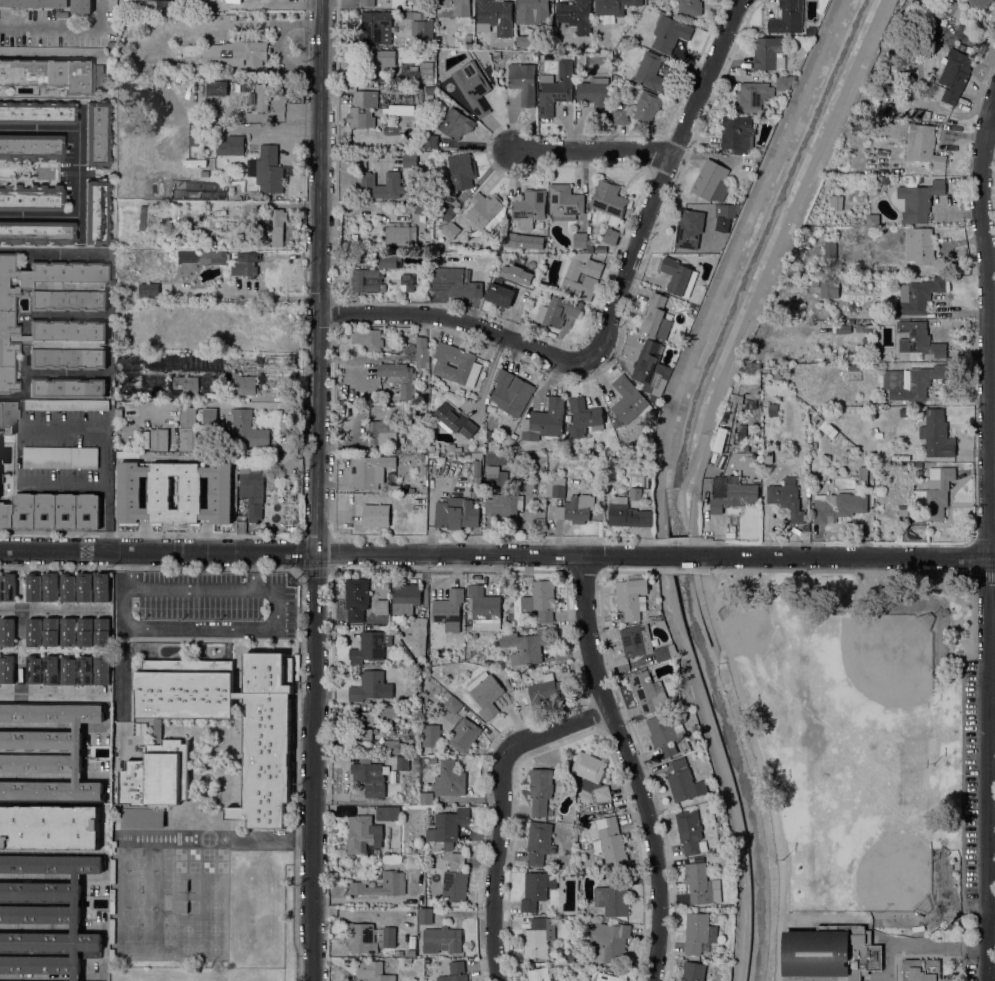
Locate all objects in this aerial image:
road: (241, 0)
building: (876, 0)
road: (306, 1)
building: (421, 2)
building: (34, 3)
building: (366, 3)
building: (924, 3)
building: (978, 3)
building: (152, 5)
building: (81, 6)
building: (948, 7)
building: (453, 8)
building: (613, 8)
building: (689, 8)
building: (532, 10)
building: (60, 14)
building: (492, 14)
building: (575, 15)
building: (788, 18)
building: (375, 27)
road: (65, 28)
building: (421, 29)
building: (669, 33)
building: (468, 39)
building: (425, 50)
building: (224, 52)
building: (767, 52)
building: (496, 55)
building: (382, 59)
building: (421, 72)
building: (651, 73)
building: (52, 74)
building: (952, 77)
building: (523, 83)
building: (473, 87)
building: (216, 88)
building: (201, 89)
building: (428, 89)
building: (183, 94)
building: (551, 94)
building: (758, 94)
building: (244, 95)
building: (595, 95)
building: (263, 96)
building: (135, 99)
building: (194, 101)
building: (222, 101)
building: (200, 102)
building: (212, 102)
building: (639, 109)
building: (362, 110)
building: (402, 111)
building: (37, 113)
building: (926, 114)
building: (455, 124)
road: (39, 128)
road: (991, 128)
building: (736, 131)
building: (96, 134)
building: (851, 139)
building: (431, 141)
building: (230, 146)
building: (923, 146)
building: (31, 147)
road: (594, 151)
building: (409, 160)
building: (838, 167)
building: (268, 170)
building: (461, 171)
building: (214, 175)
building: (709, 179)
road: (662, 183)
building: (386, 185)
building: (893, 192)
building: (31, 198)
road: (78, 198)
building: (918, 200)
building: (564, 201)
building: (609, 201)
building: (836, 202)
building: (529, 205)
building: (419, 207)
building: (485, 211)
building: (728, 211)
building: (96, 212)
building: (447, 212)
building: (429, 216)
building: (275, 224)
road: (78, 229)
building: (425, 229)
building: (689, 229)
building: (451, 230)
building: (36, 232)
building: (400, 234)
building: (610, 236)
building: (509, 239)
building: (580, 240)
building: (426, 245)
building: (496, 248)
building: (590, 249)
building: (707, 249)
building: (830, 249)
building: (923, 249)
building: (600, 250)
building: (583, 251)
building: (220, 259)
building: (388, 260)
building: (488, 271)
building: (579, 276)
building: (678, 277)
building: (366, 281)
building: (406, 283)
building: (454, 283)
building: (815, 283)
building: (829, 289)
building: (148, 290)
road: (267, 293)
building: (202, 294)
building: (507, 294)
building: (918, 296)
building: (695, 301)
building: (558, 311)
building: (194, 313)
building: (242, 316)
road: (457, 318)
building: (655, 318)
building: (67, 323)
building: (864, 328)
building: (842, 329)
building: (367, 339)
building: (918, 340)
building: (865, 341)
building: (221, 347)
building: (231, 347)
building: (241, 347)
building: (422, 353)
building: (468, 364)
building: (649, 368)
building: (854, 368)
building: (399, 378)
building: (911, 382)
building: (242, 384)
building: (186, 386)
building: (67, 388)
building: (510, 395)
building: (159, 396)
building: (738, 399)
building: (628, 400)
building: (65, 405)
building: (849, 411)
building: (857, 411)
building: (772, 412)
building: (7, 416)
building: (209, 417)
building: (582, 418)
building: (544, 419)
building: (454, 420)
building: (818, 420)
building: (616, 422)
building: (186, 427)
building: (244, 428)
building: (828, 429)
building: (742, 431)
building: (381, 432)
building: (877, 433)
building: (936, 433)
building: (730, 438)
building: (155, 439)
building: (170, 439)
building: (497, 443)
road: (107, 448)
building: (452, 448)
building: (745, 448)
building: (882, 448)
building: (476, 455)
building: (486, 456)
building: (509, 456)
building: (768, 456)
building: (60, 457)
building: (619, 458)
building: (370, 471)
building: (861, 476)
building: (496, 478)
road: (66, 482)
building: (554, 487)
building: (635, 488)
building: (251, 489)
building: (394, 489)
building: (424, 489)
road: (317, 490)
building: (731, 493)
building: (935, 493)
building: (215, 494)
building: (786, 498)
building: (705, 501)
building: (504, 505)
building: (837, 506)
building: (575, 509)
building: (51, 511)
building: (617, 511)
building: (456, 514)
building: (646, 518)
building: (898, 536)
road: (986, 536)
road: (334, 553)
road: (679, 556)
road: (841, 557)
road: (255, 571)
road: (315, 571)
road: (584, 571)
road: (681, 571)
road: (984, 574)
building: (8, 587)
building: (33, 587)
building: (51, 587)
building: (67, 587)
building: (84, 587)
building: (101, 587)
road: (173, 587)
road: (566, 594)
building: (632, 597)
building: (356, 599)
building: (404, 600)
building: (540, 601)
road: (54, 606)
building: (381, 607)
building: (484, 609)
building: (448, 610)
building: (657, 621)
road: (991, 624)
road: (300, 626)
building: (419, 626)
building: (7, 632)
building: (33, 632)
building: (51, 632)
building: (68, 632)
building: (85, 632)
building: (102, 632)
building: (636, 640)
road: (974, 640)
park: (764, 643)
building: (526, 646)
building: (370, 647)
road: (19, 648)
building: (666, 652)
park: (877, 667)
building: (6, 669)
building: (33, 669)
building: (18, 670)
building: (51, 670)
building: (85, 670)
building: (102, 670)
building: (67, 671)
building: (370, 687)
road: (54, 690)
building: (547, 690)
building: (648, 692)
building: (485, 694)
building: (450, 703)
building: (362, 718)
building: (665, 733)
building: (360, 734)
building: (463, 735)
building: (267, 736)
building: (430, 736)
road: (636, 739)
building: (393, 747)
building: (77, 752)
building: (377, 759)
building: (424, 759)
building: (415, 760)
building: (402, 763)
park: (852, 763)
road: (723, 765)
road: (630, 766)
road: (991, 767)
building: (588, 770)
building: (156, 773)
building: (370, 777)
building: (448, 780)
building: (684, 781)
parking lot: (970, 783)
building: (540, 790)
building: (601, 793)
building: (425, 798)
road: (501, 810)
building: (429, 811)
building: (550, 812)
building: (387, 814)
building: (143, 818)
road: (764, 819)
building: (447, 827)
building: (47, 828)
building: (690, 832)
building: (362, 834)
road: (217, 839)
building: (609, 841)
building: (539, 843)
park: (867, 847)
building: (51, 852)
building: (376, 852)
building: (455, 880)
building: (393, 884)
building: (701, 885)
building: (533, 891)
building: (612, 897)
road: (992, 911)
building: (46, 916)
building: (425, 916)
building: (880, 920)
building: (699, 932)
building: (388, 937)
building: (363, 938)
building: (441, 940)
building: (536, 940)
building: (607, 941)
building: (830, 952)
building: (411, 953)
road: (916, 956)
building: (569, 957)
building: (403, 961)
road: (942, 966)
parking lot: (971, 968)
building: (372, 970)
building: (920, 970)
building: (693, 971)
building: (455, 972)
building: (864, 973)
building: (540, 974)
road: (951, 976)
road: (992, 976)
building: (607, 977)

